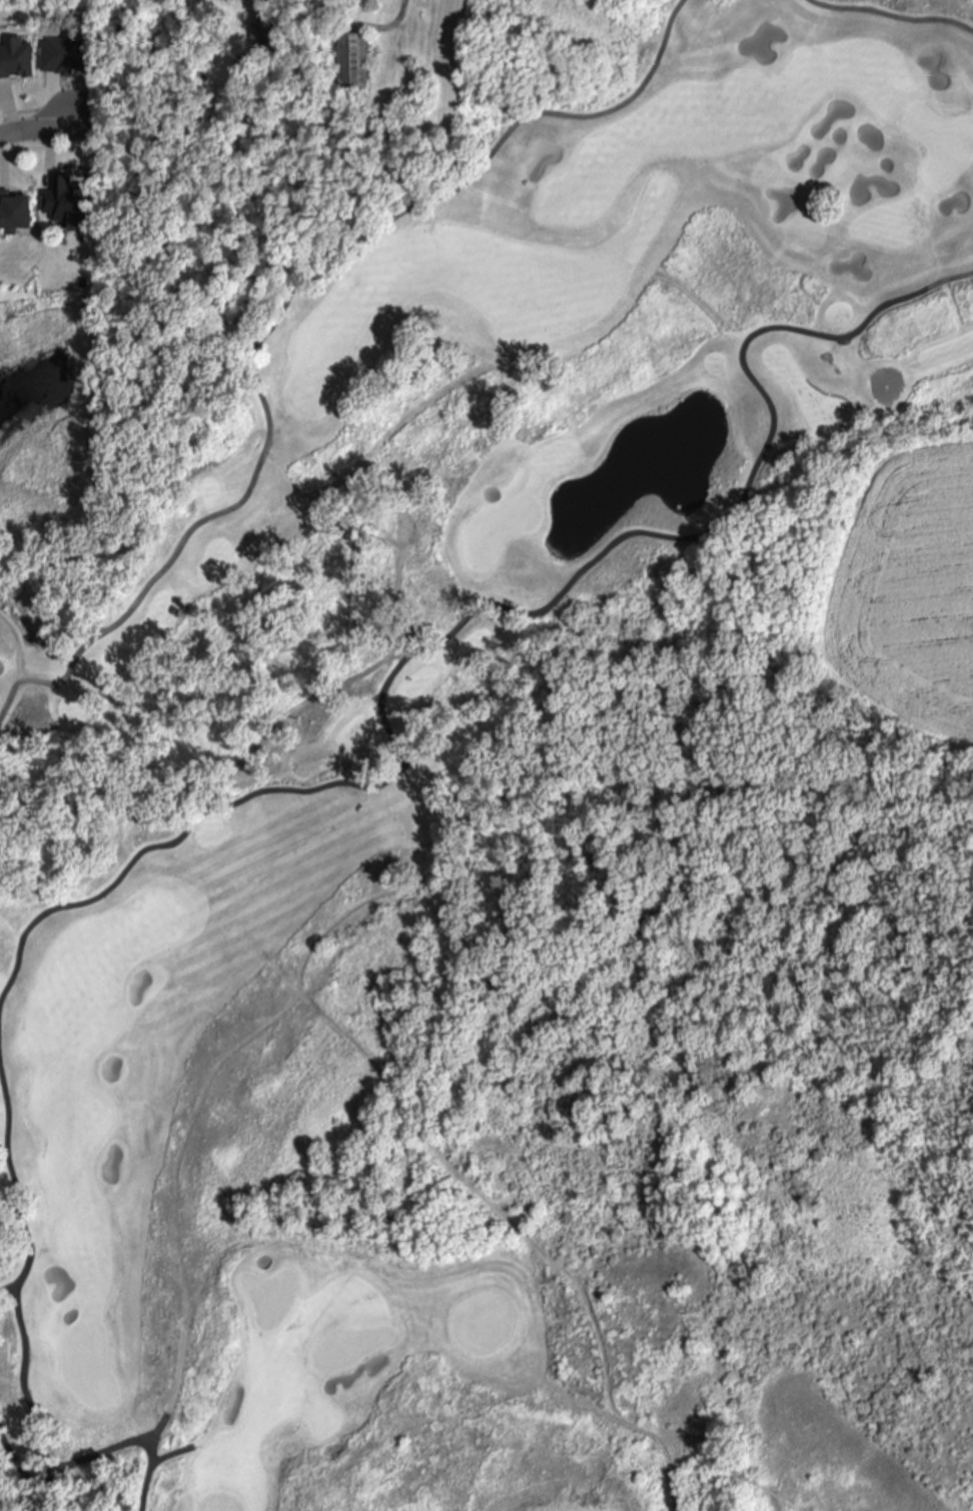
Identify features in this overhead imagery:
road: (890, 16)
building: (259, 27)
building: (259, 44)
building: (15, 56)
building: (353, 60)
road: (35, 126)
building: (67, 205)
building: (16, 210)
road: (286, 295)
park: (500, 524)
road: (492, 606)
road: (15, 662)
park: (511, 797)
road: (15, 1196)
road: (24, 1399)
road: (116, 1444)
road: (167, 1454)
road: (145, 1473)

